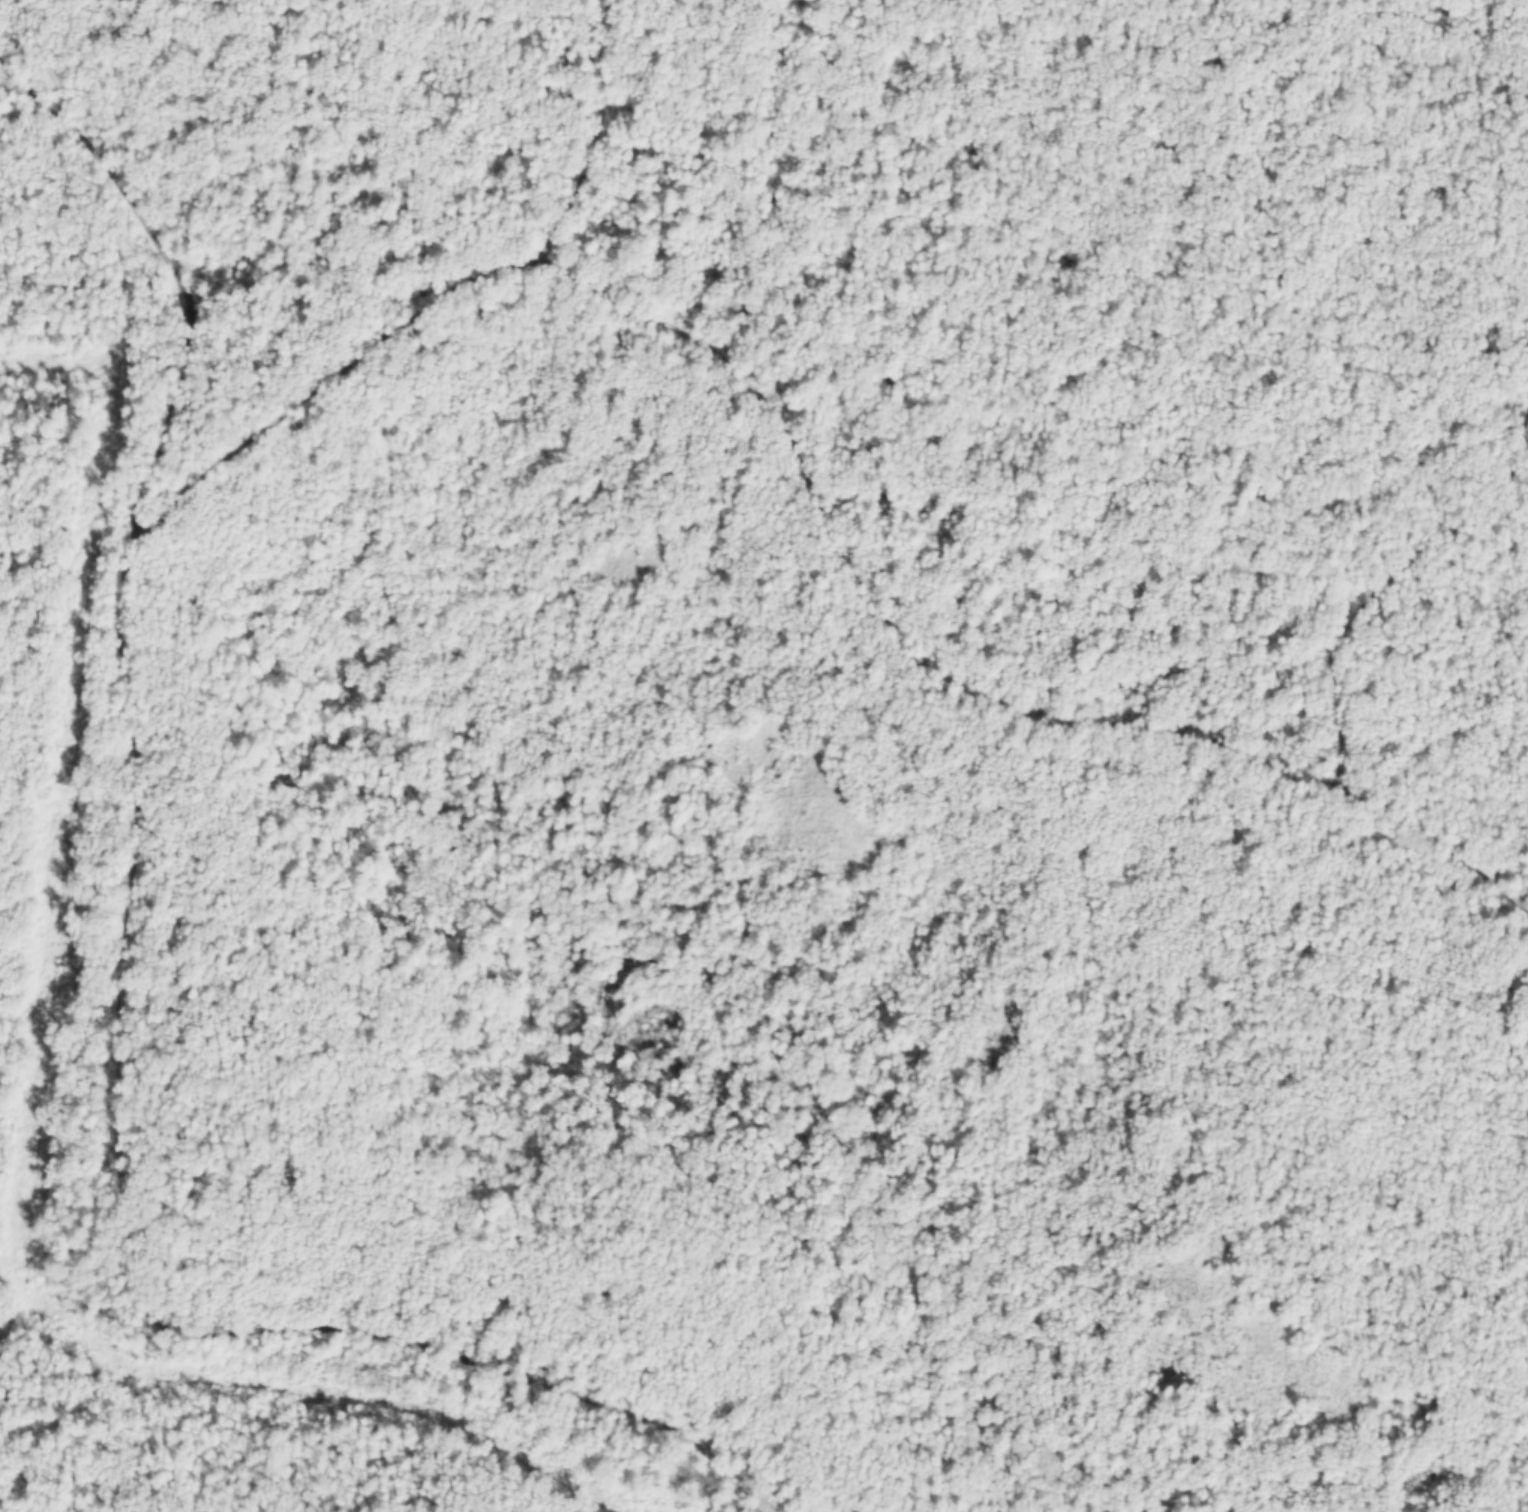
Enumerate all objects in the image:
road: (436, 299)
road: (962, 678)
road: (125, 997)

